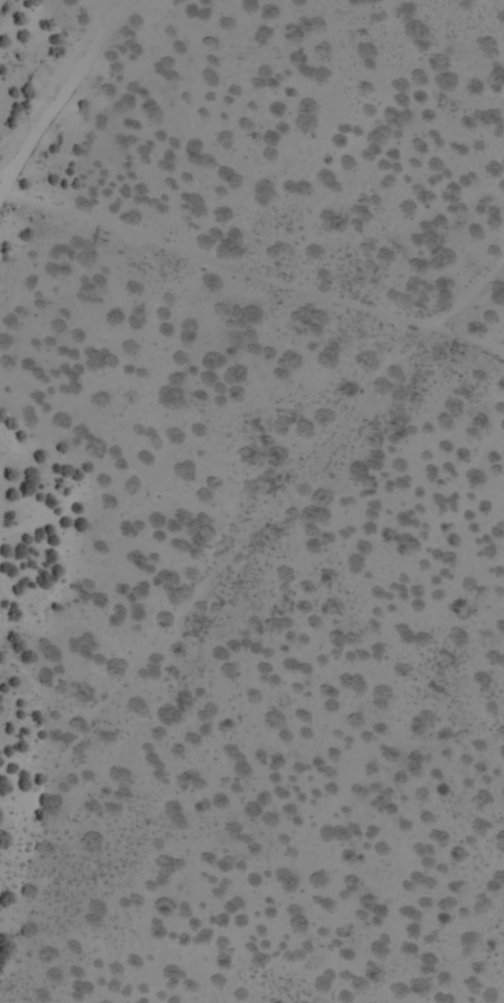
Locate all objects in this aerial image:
power tower: (109, 233)
power tower: (463, 349)

